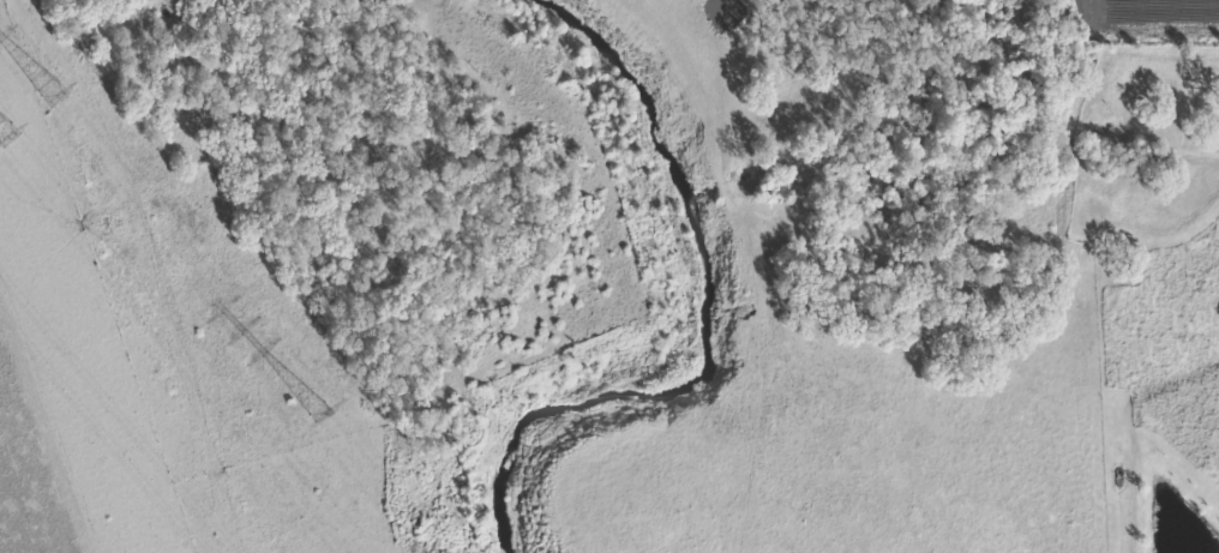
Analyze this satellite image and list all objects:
power tower: (55, 95)
power tower: (6, 136)
river: (695, 302)

